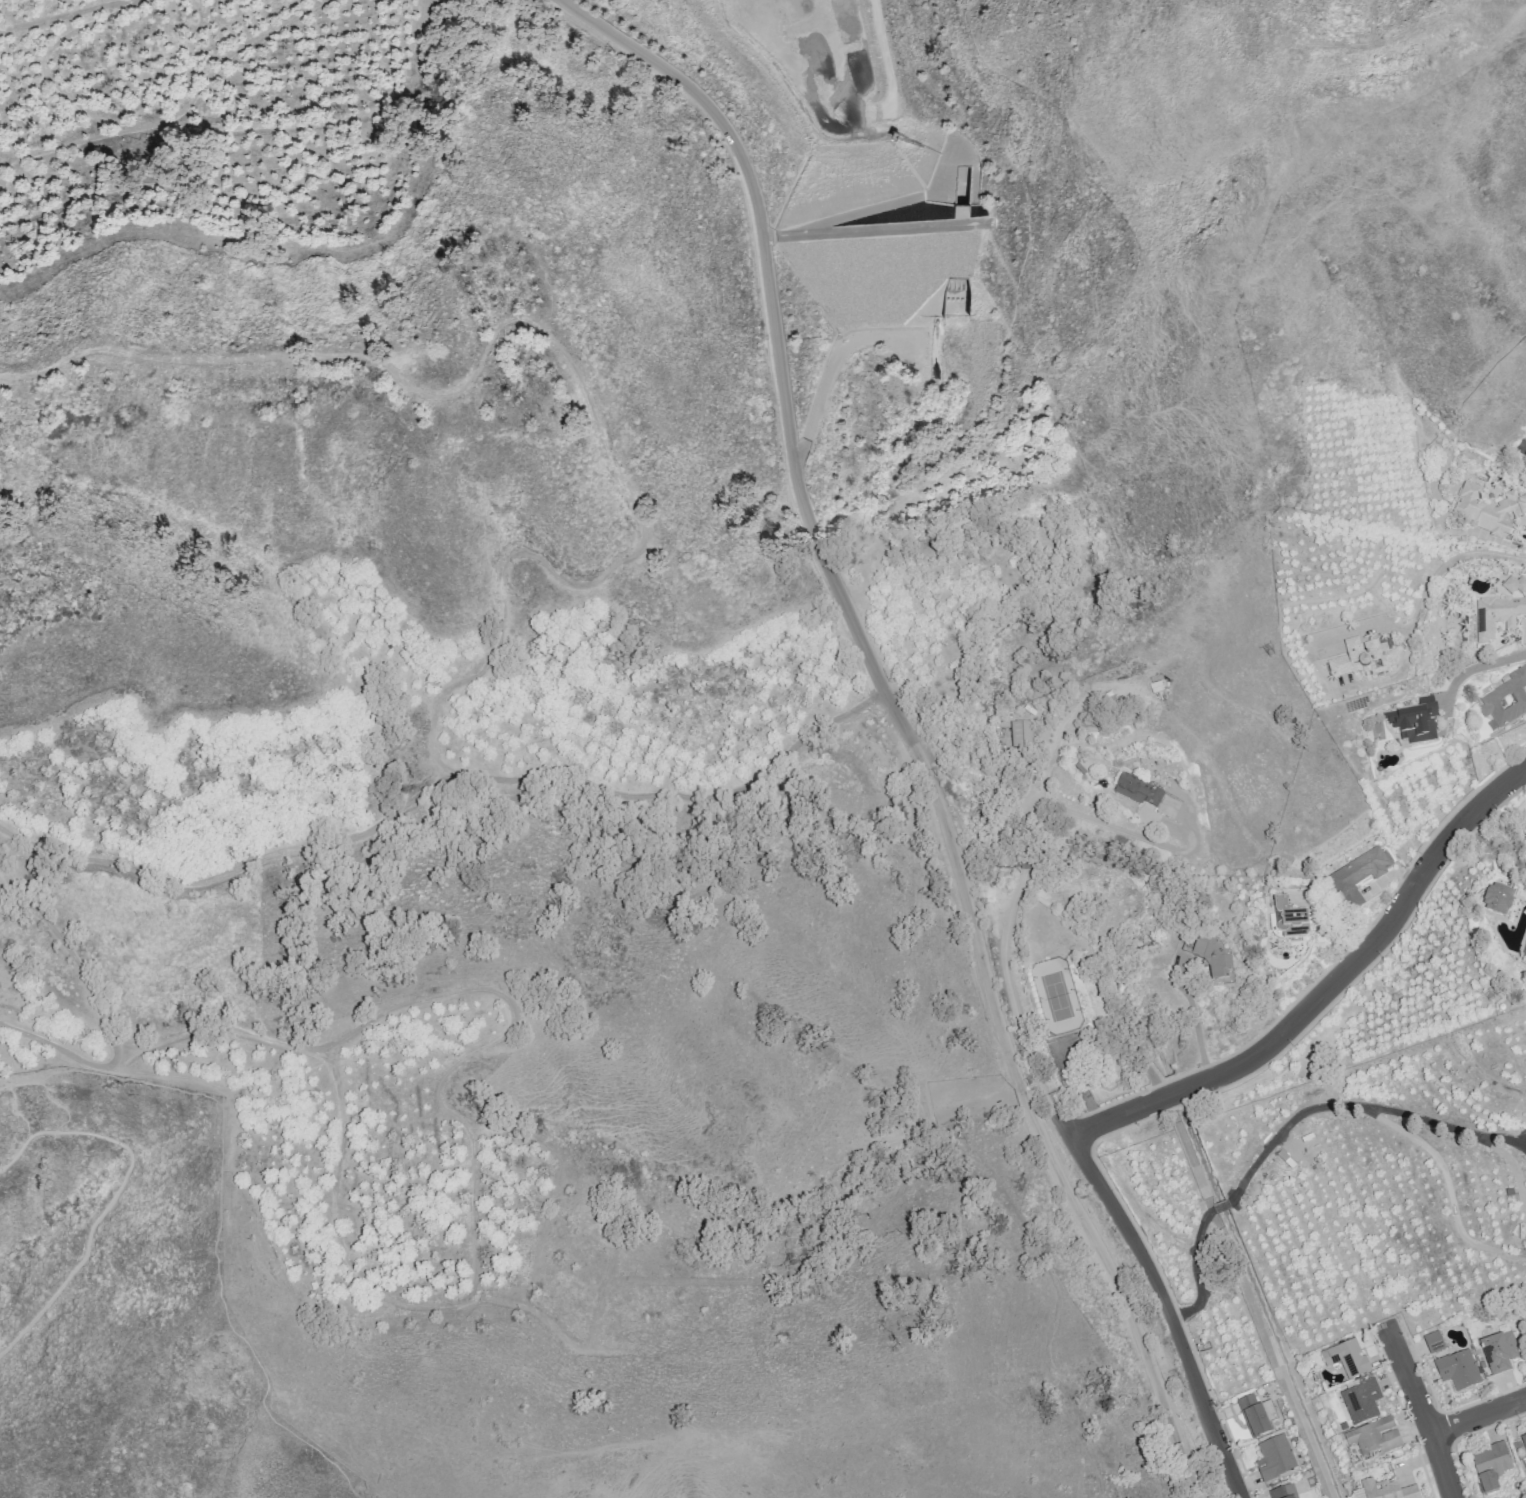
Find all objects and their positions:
building: (1489, 510)
road: (1452, 565)
building: (1514, 586)
building: (1497, 621)
building: (1364, 660)
road: (1480, 669)
road: (1326, 674)
building: (1506, 700)
road: (909, 720)
building: (1413, 723)
building: (1022, 732)
building: (1138, 793)
road: (1028, 812)
road: (1122, 830)
road: (1494, 841)
road: (1026, 851)
building: (1356, 877)
building: (1496, 901)
building: (1287, 921)
building: (1524, 956)
building: (1212, 963)
road: (1327, 990)
road: (1200, 1027)
road: (1359, 1107)
road: (1192, 1152)
road: (1099, 1185)
road: (116, 1199)
road: (1222, 1205)
road: (221, 1217)
road: (1195, 1270)
building: (1433, 1341)
building: (1498, 1350)
building: (1346, 1358)
building: (1457, 1369)
park: (69, 1384)
building: (1360, 1400)
road: (1420, 1408)
building: (1255, 1415)
road: (1478, 1415)
building: (1372, 1441)
building: (1524, 1441)
building: (1274, 1457)
building: (1490, 1465)
building: (1386, 1490)
building: (1282, 1491)

